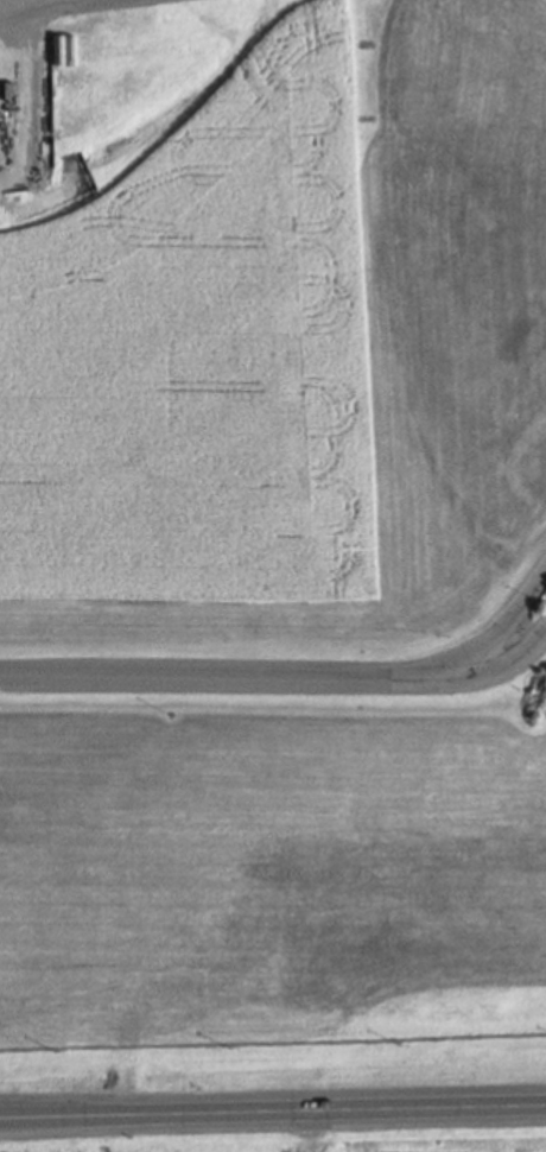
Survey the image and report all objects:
road: (43, 6)
road: (415, 679)
road: (202, 683)
road: (273, 1115)

